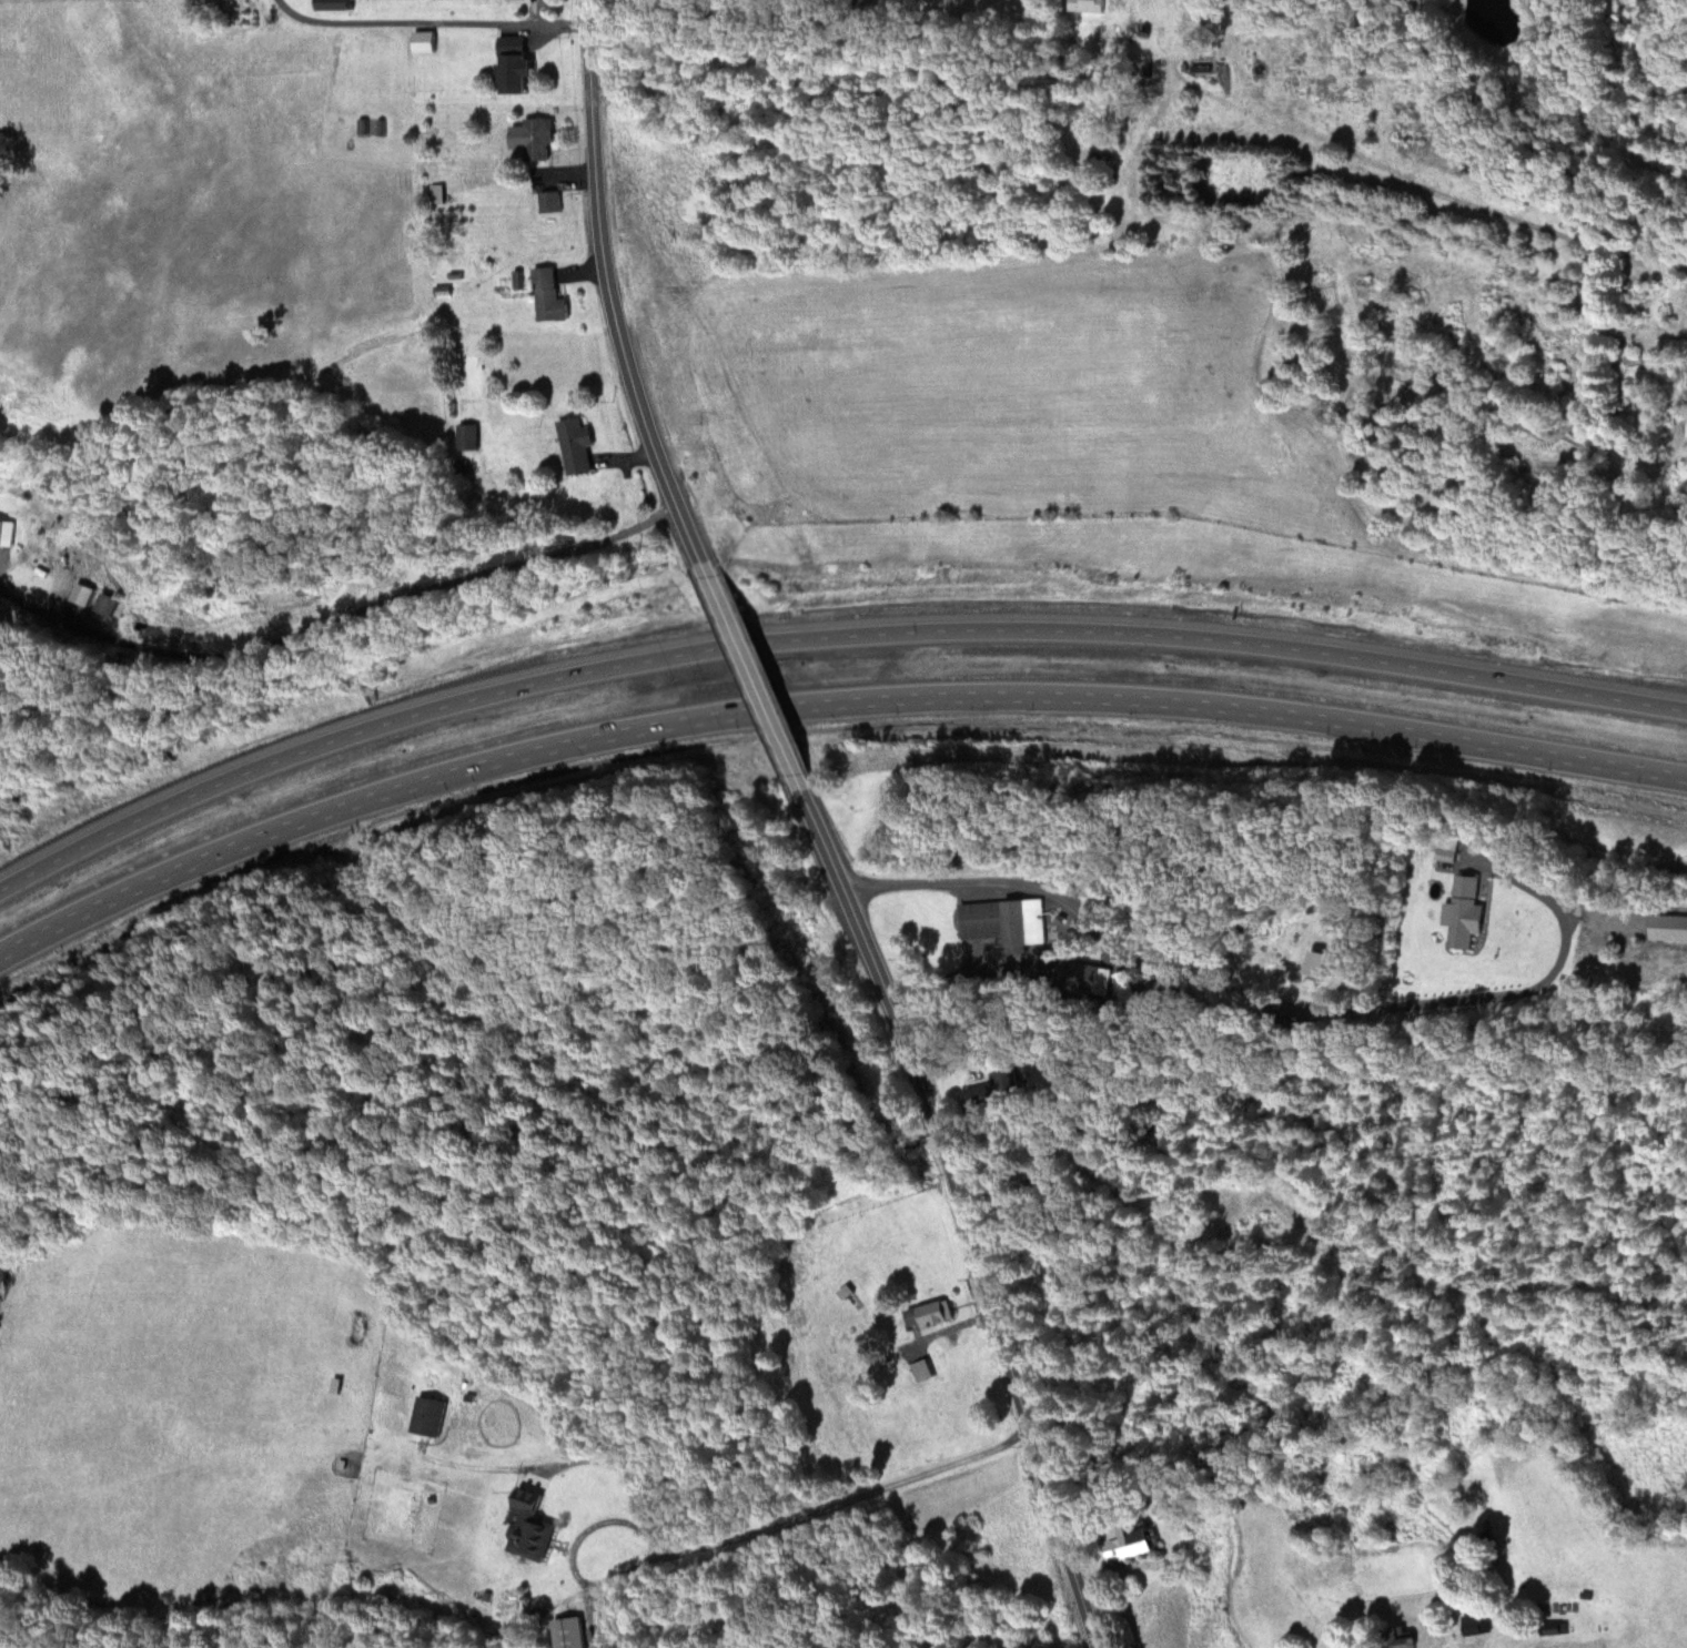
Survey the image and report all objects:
building: (335, 3)
building: (1085, 4)
road: (587, 10)
road: (431, 20)
building: (516, 63)
building: (538, 138)
building: (436, 193)
building: (549, 201)
building: (549, 296)
road: (613, 303)
building: (468, 436)
building: (576, 444)
building: (4, 533)
road: (408, 599)
building: (105, 604)
road: (824, 643)
road: (754, 679)
road: (825, 709)
building: (1466, 912)
building: (1004, 921)
building: (1083, 980)
road: (743, 1056)
building: (982, 1095)
road: (974, 1211)
building: (929, 1315)
building: (921, 1369)
building: (427, 1415)
road: (1158, 1420)
building: (529, 1530)
building: (1129, 1545)
road: (932, 1612)
building: (1472, 1624)
road: (527, 1628)
building: (1400, 1638)

